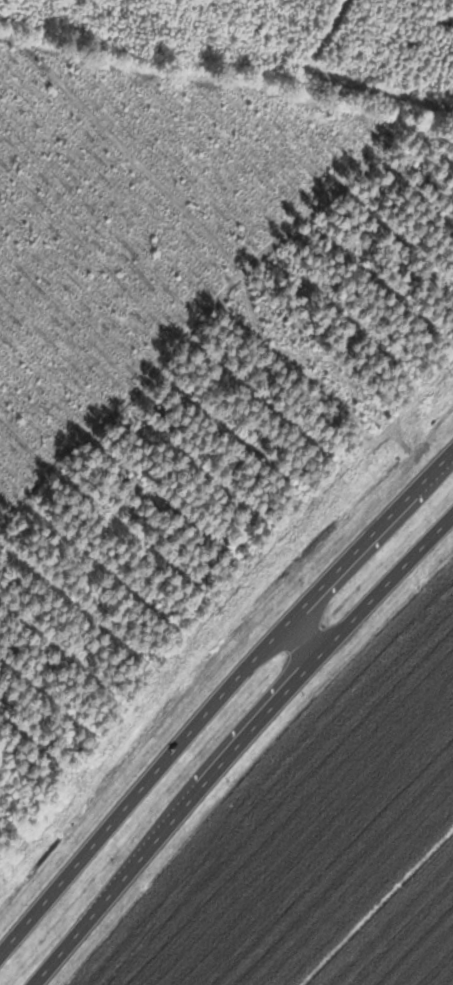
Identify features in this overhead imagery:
road: (366, 545)
road: (293, 653)
road: (239, 748)
road: (139, 793)

